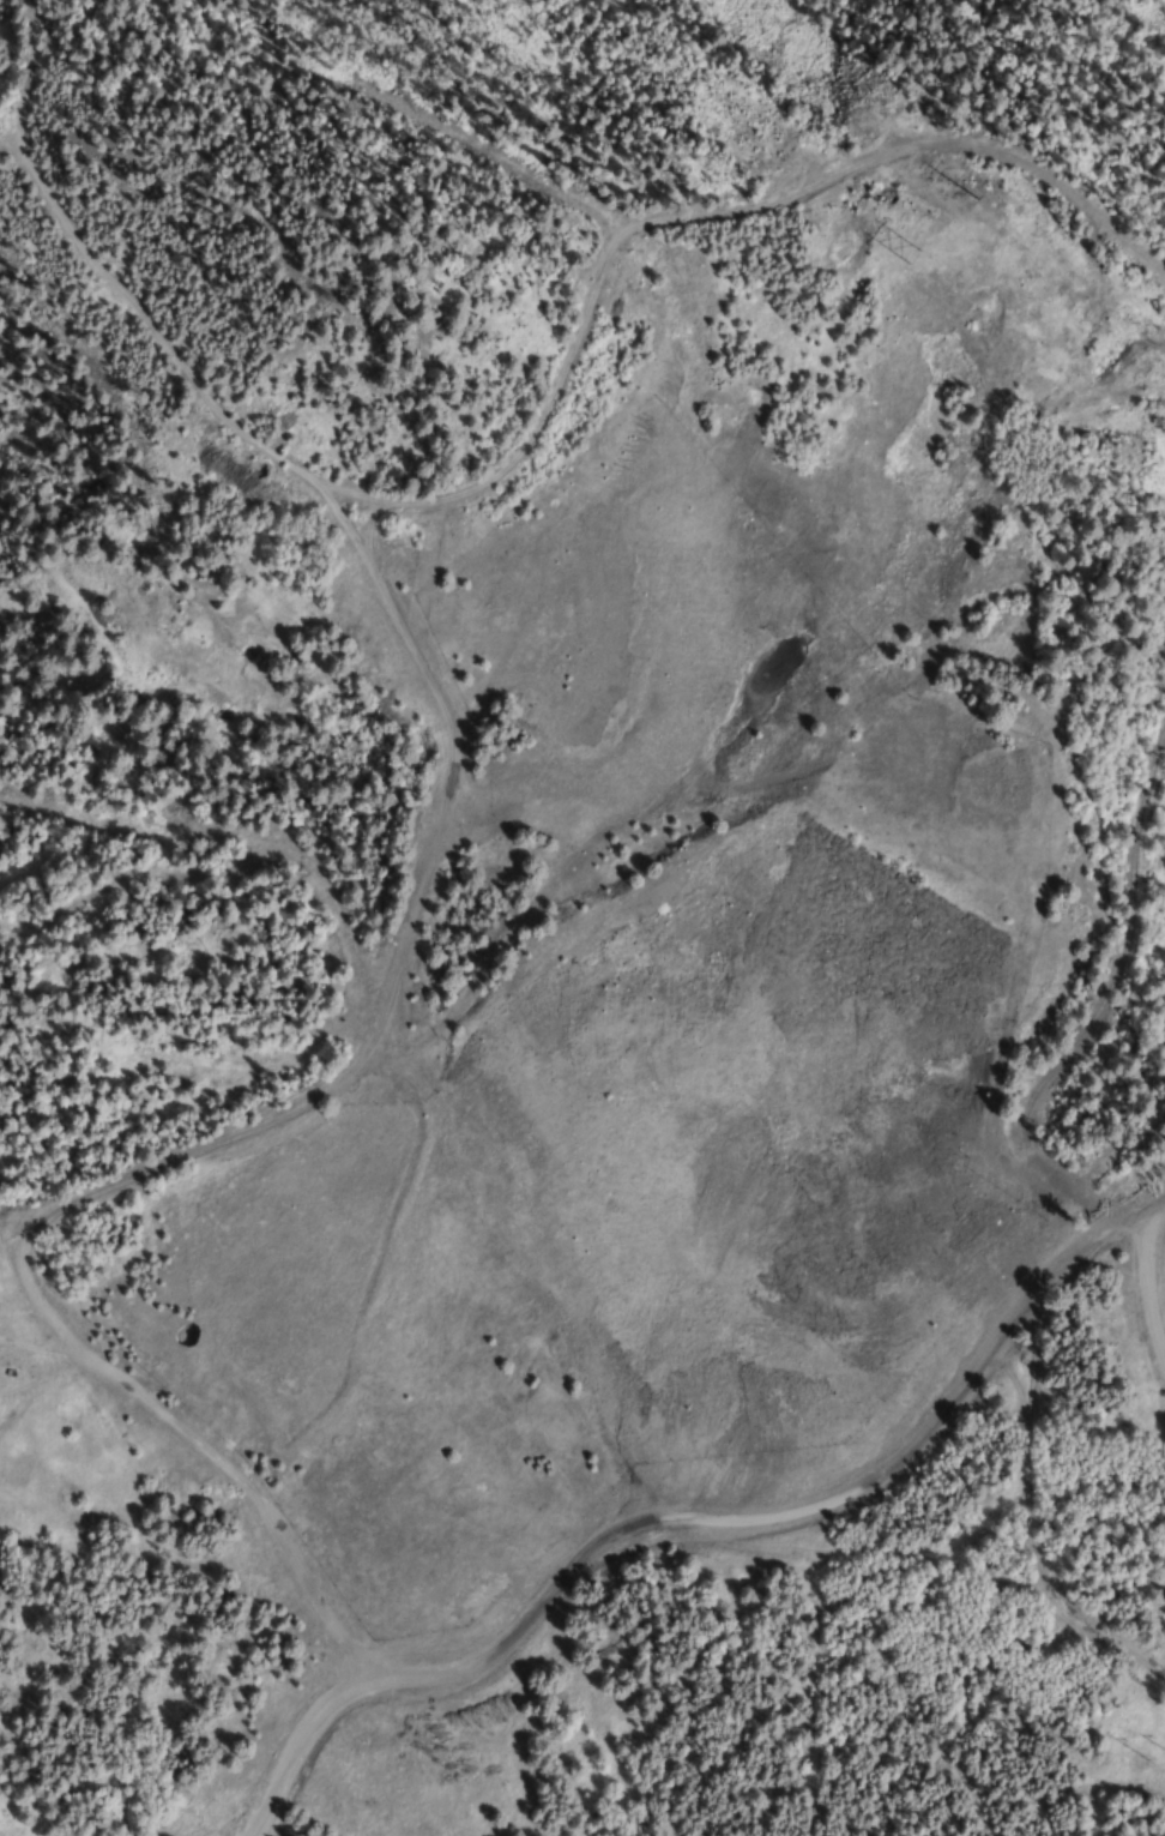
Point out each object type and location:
power tower: (913, 253)
road: (705, 1535)

